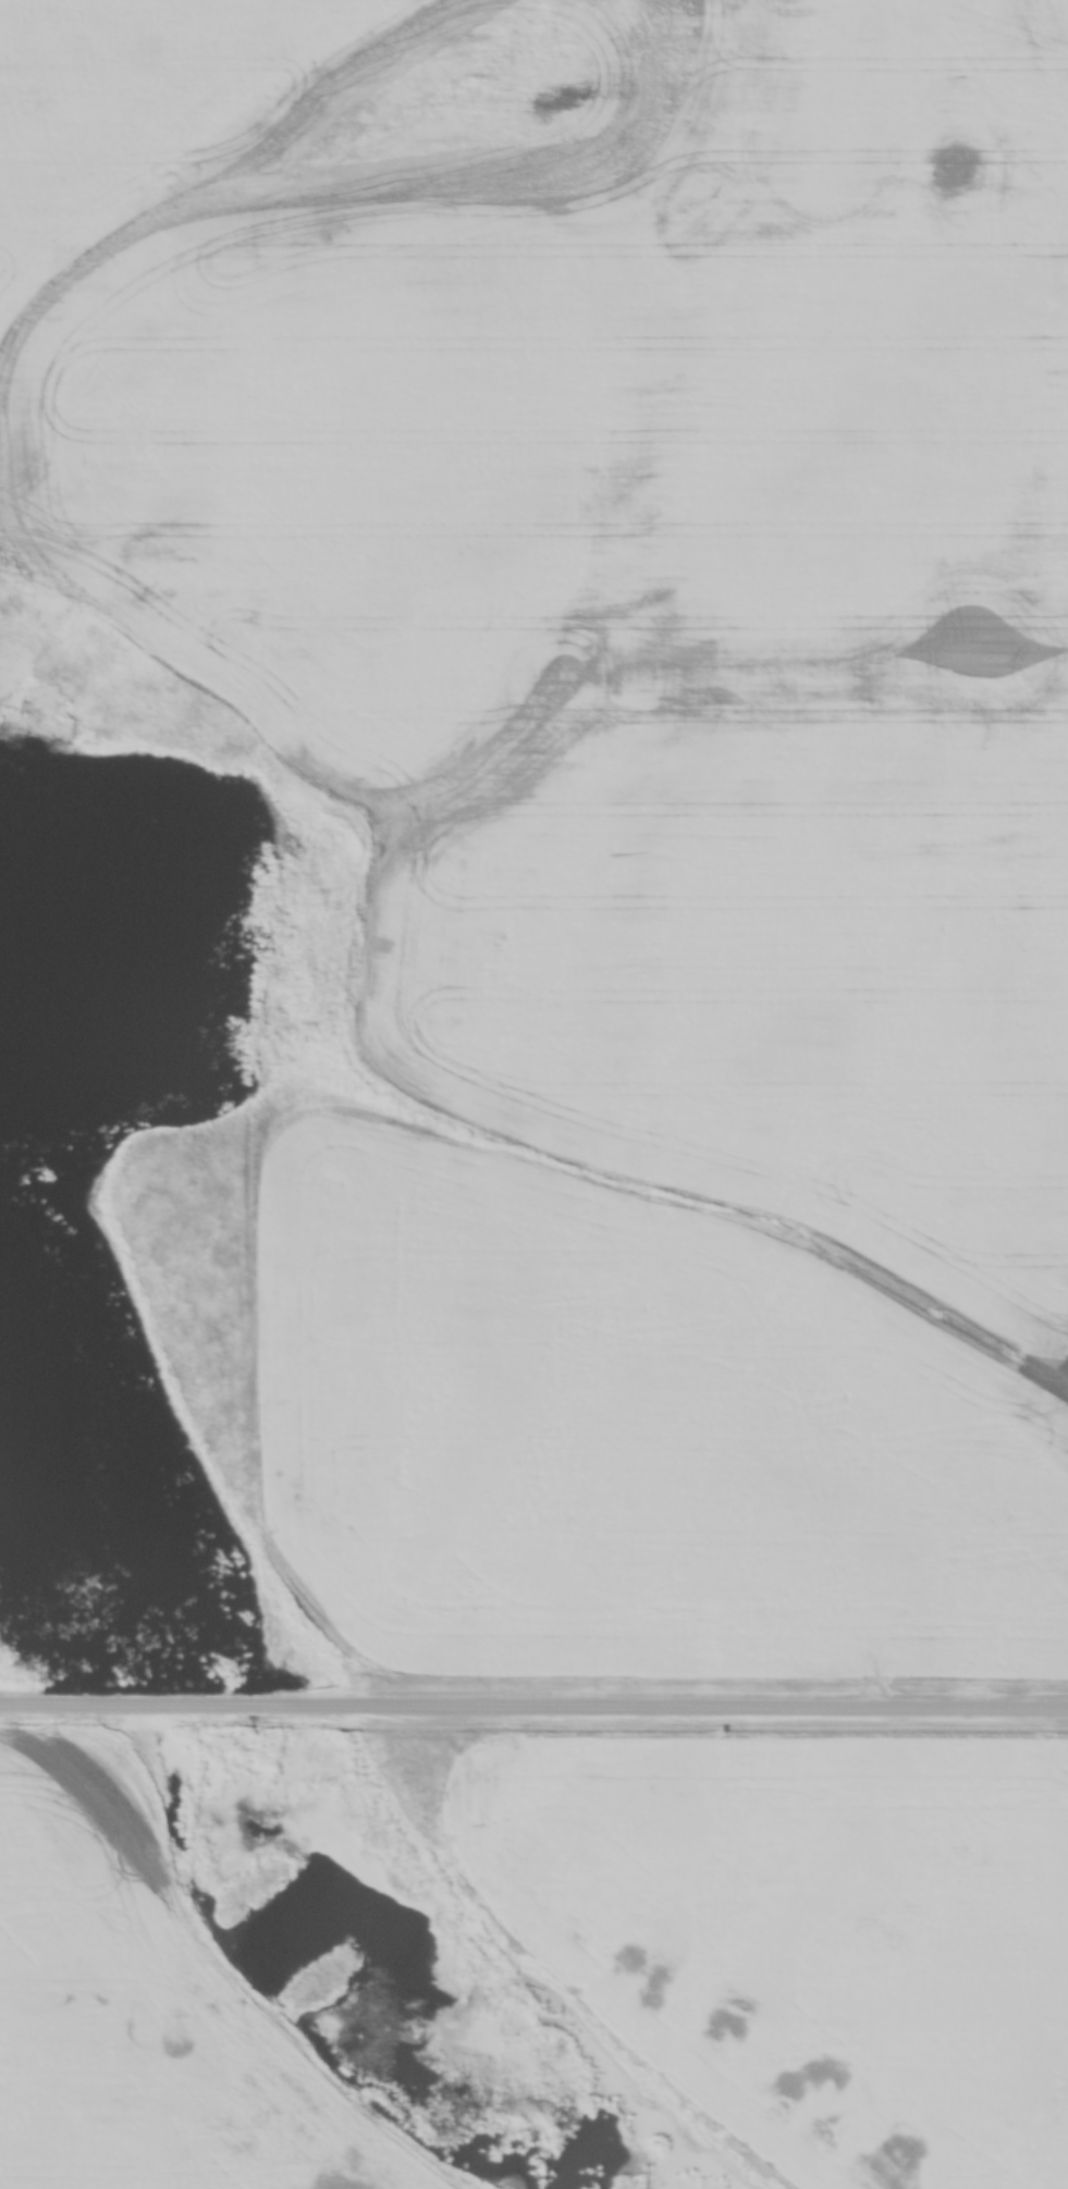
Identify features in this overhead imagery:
road: (533, 1706)

